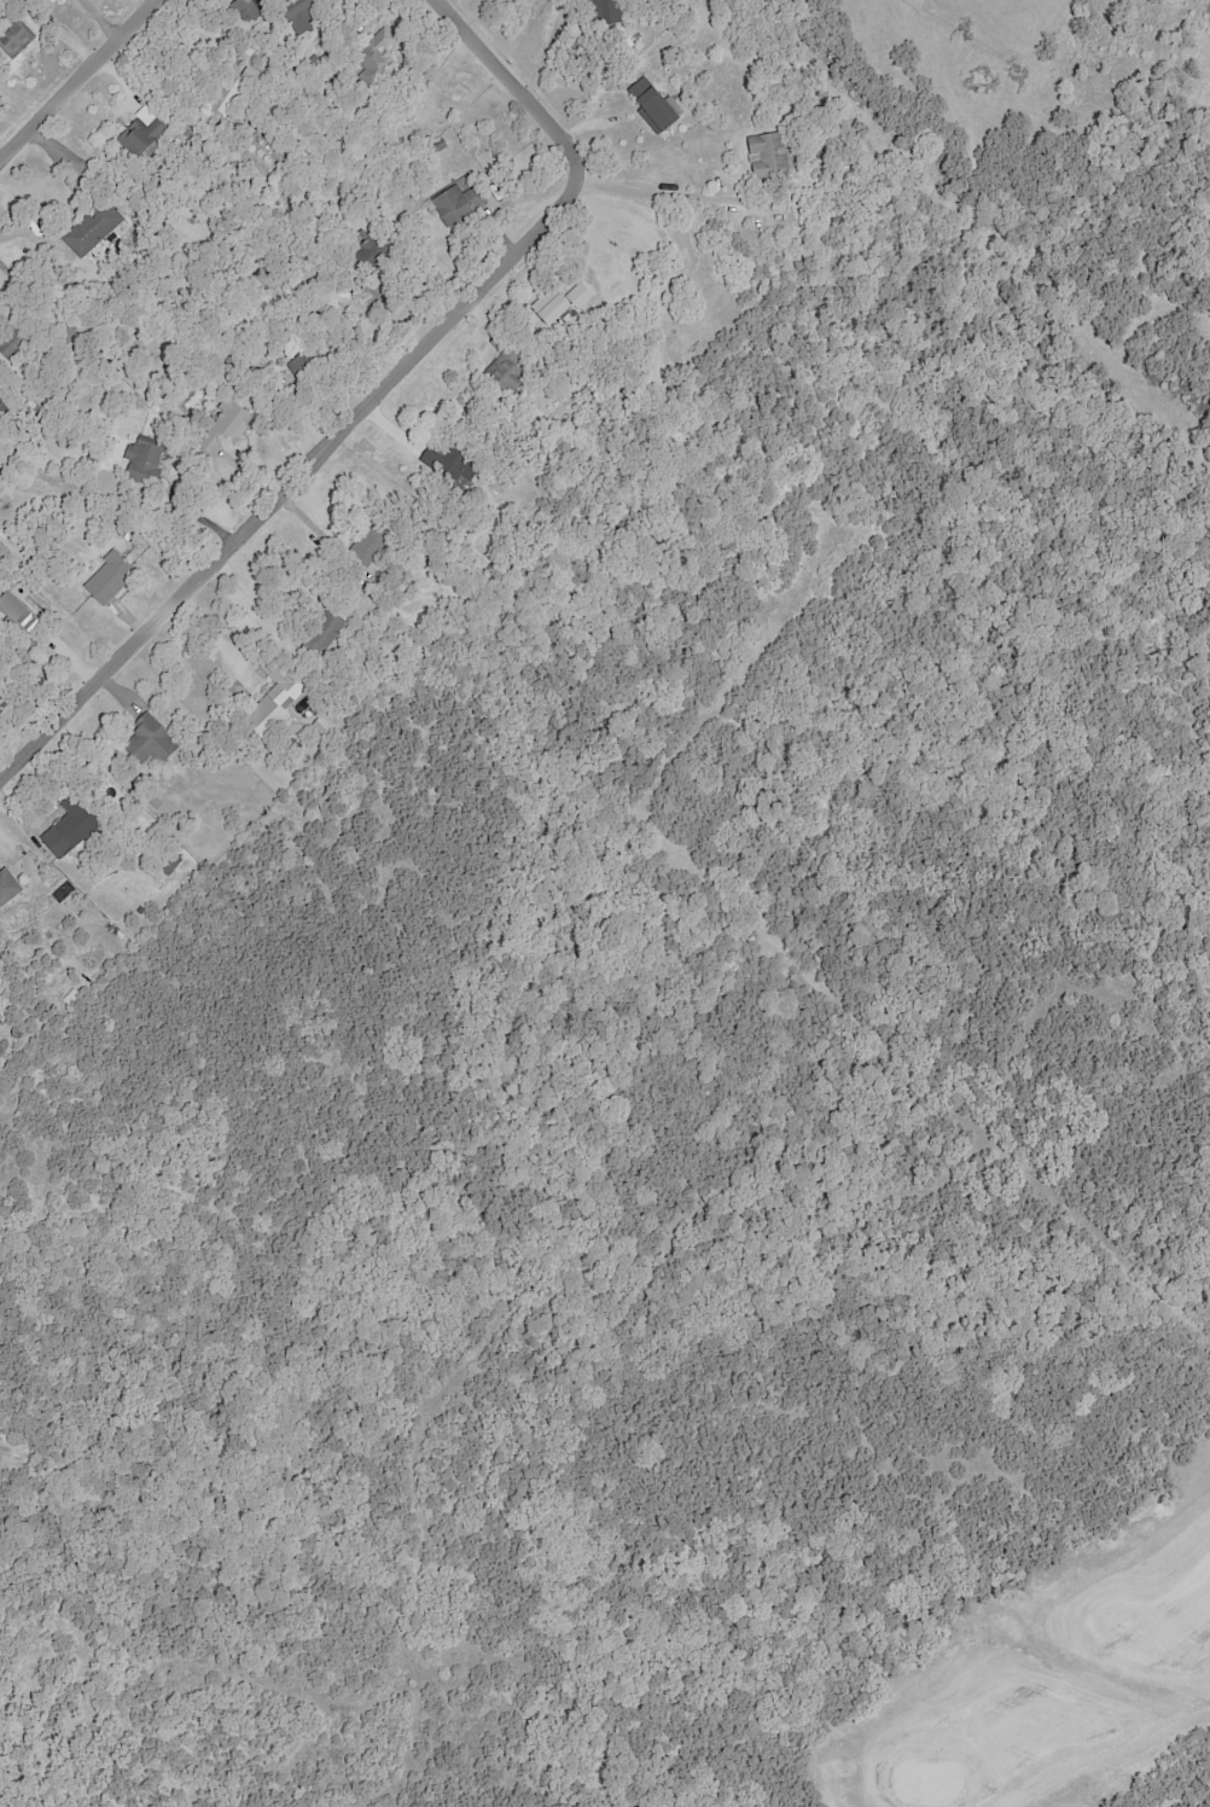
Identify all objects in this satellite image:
building: (244, 11)
building: (604, 11)
building: (14, 39)
building: (374, 53)
road: (75, 77)
building: (231, 94)
building: (651, 106)
building: (139, 133)
building: (766, 155)
road: (655, 194)
building: (458, 202)
building: (91, 228)
road: (23, 285)
building: (578, 296)
building: (555, 312)
road: (380, 405)
building: (225, 429)
building: (142, 460)
road: (320, 538)
building: (366, 545)
building: (106, 580)
building: (16, 614)
building: (321, 633)
road: (221, 640)
building: (273, 699)
building: (149, 742)
building: (68, 827)
building: (7, 888)
road: (1111, 1751)

